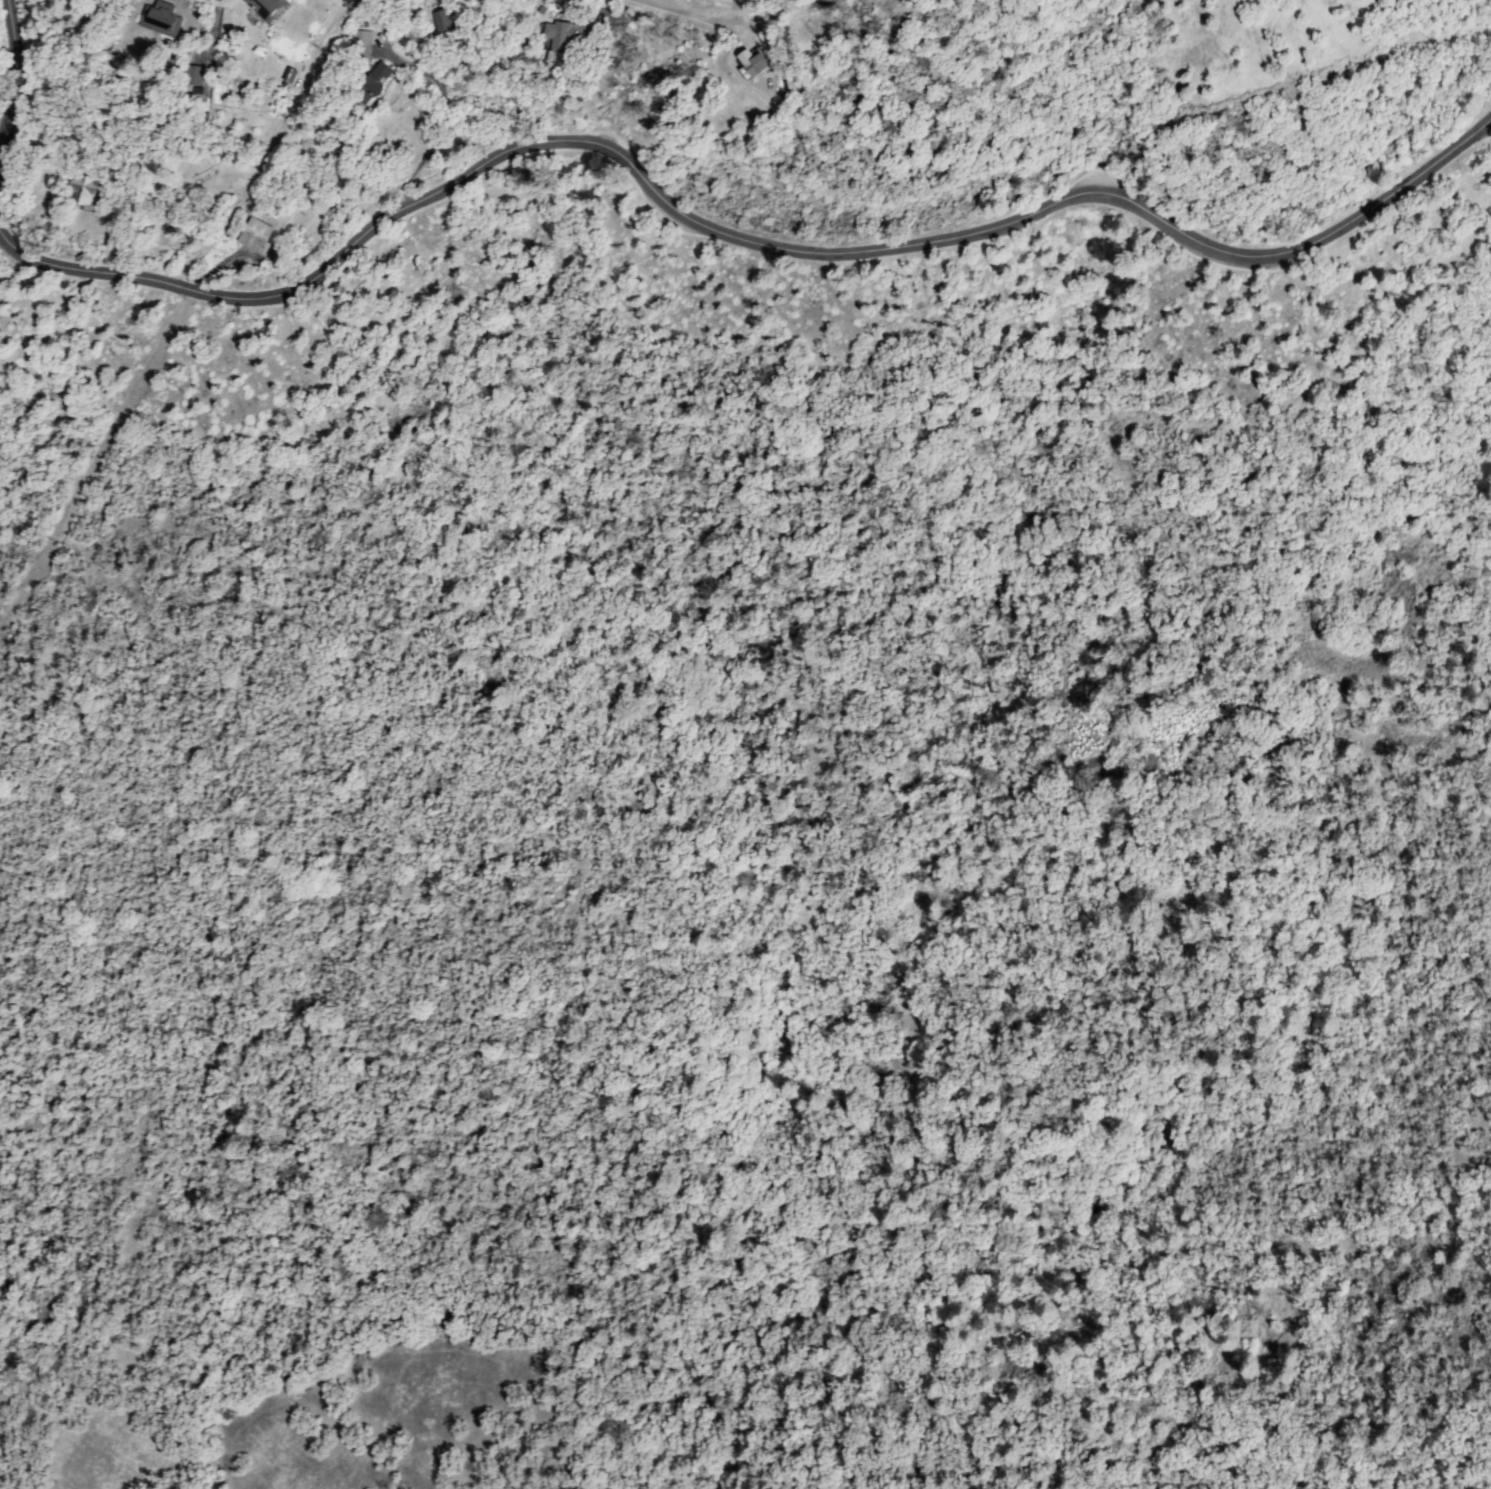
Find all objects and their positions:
building: (266, 8)
building: (611, 19)
building: (161, 20)
building: (443, 21)
building: (562, 39)
building: (362, 46)
building: (755, 67)
road: (7, 69)
building: (292, 73)
building: (195, 75)
building: (374, 83)
building: (84, 190)
road: (733, 233)
building: (258, 236)

